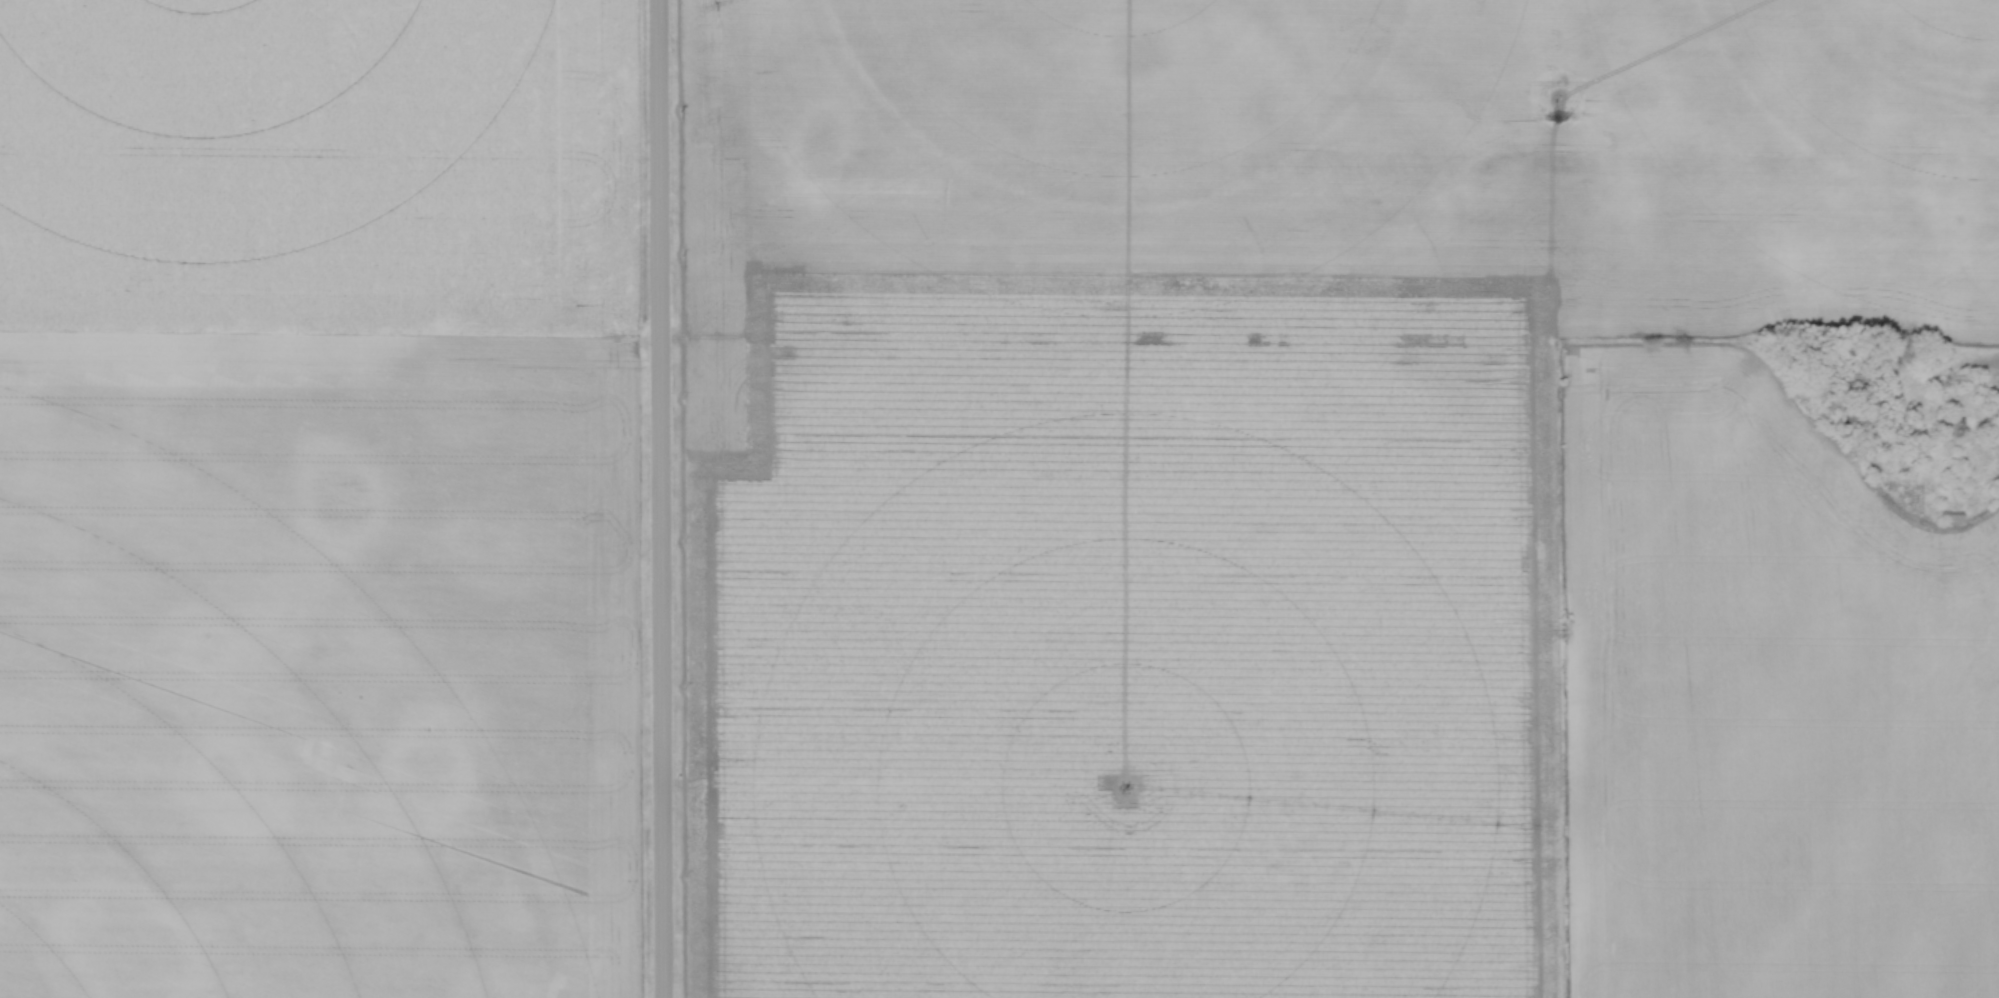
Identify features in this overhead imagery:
road: (1945, 369)
building: (1862, 378)
building: (1864, 425)
building: (1954, 427)
road: (659, 499)

